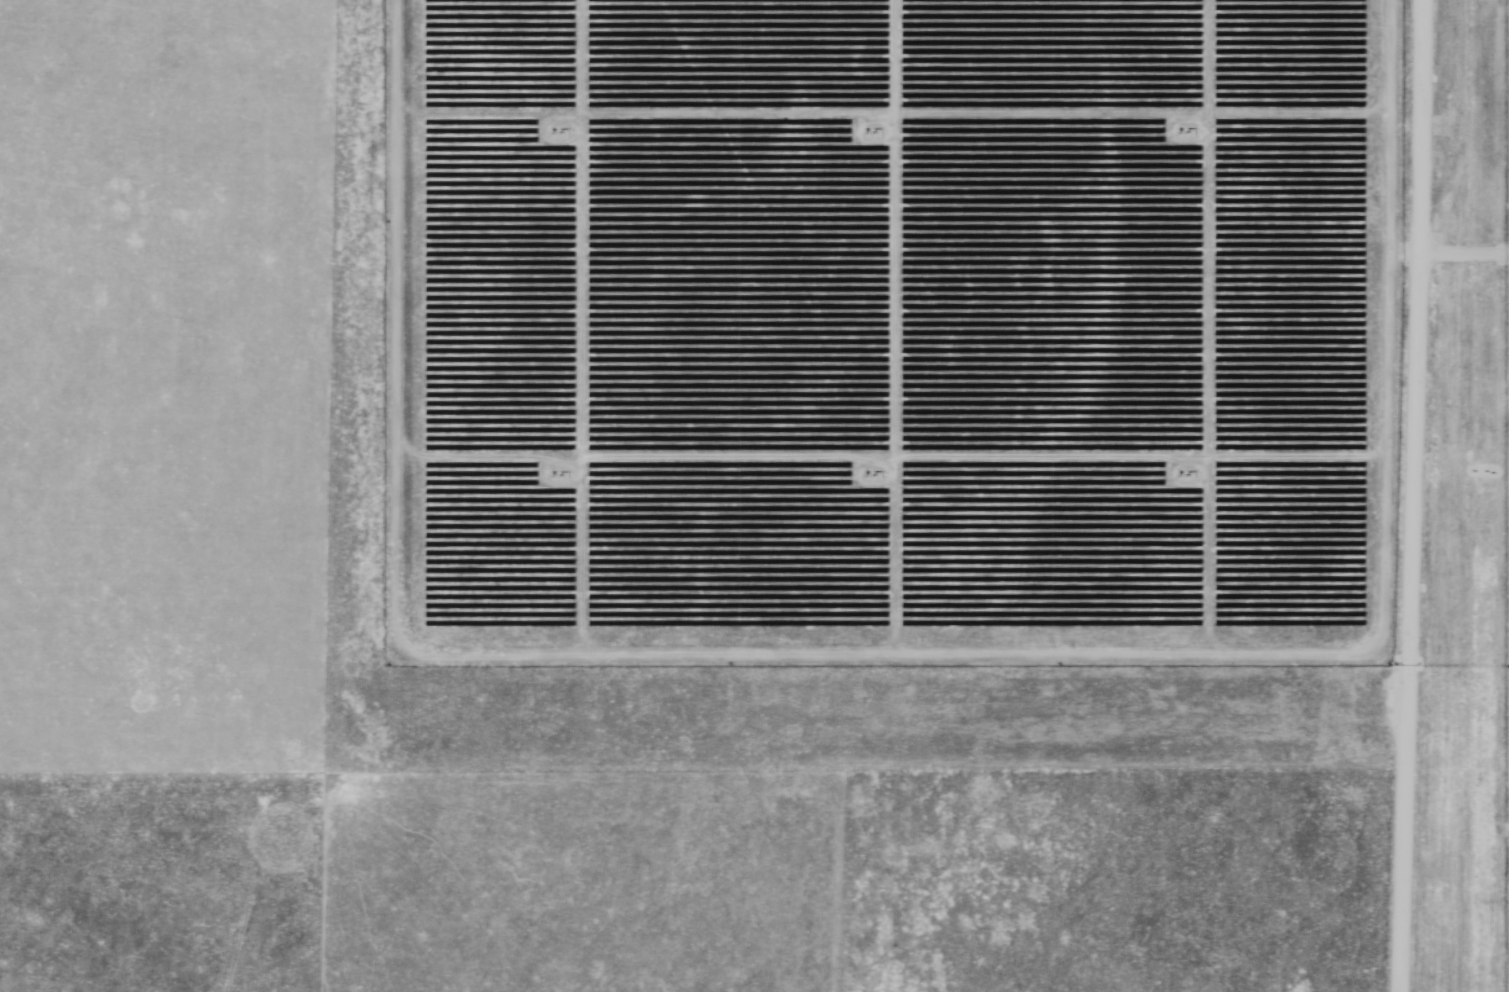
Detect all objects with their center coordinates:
solar farm: (929, 393)
road: (1417, 495)

